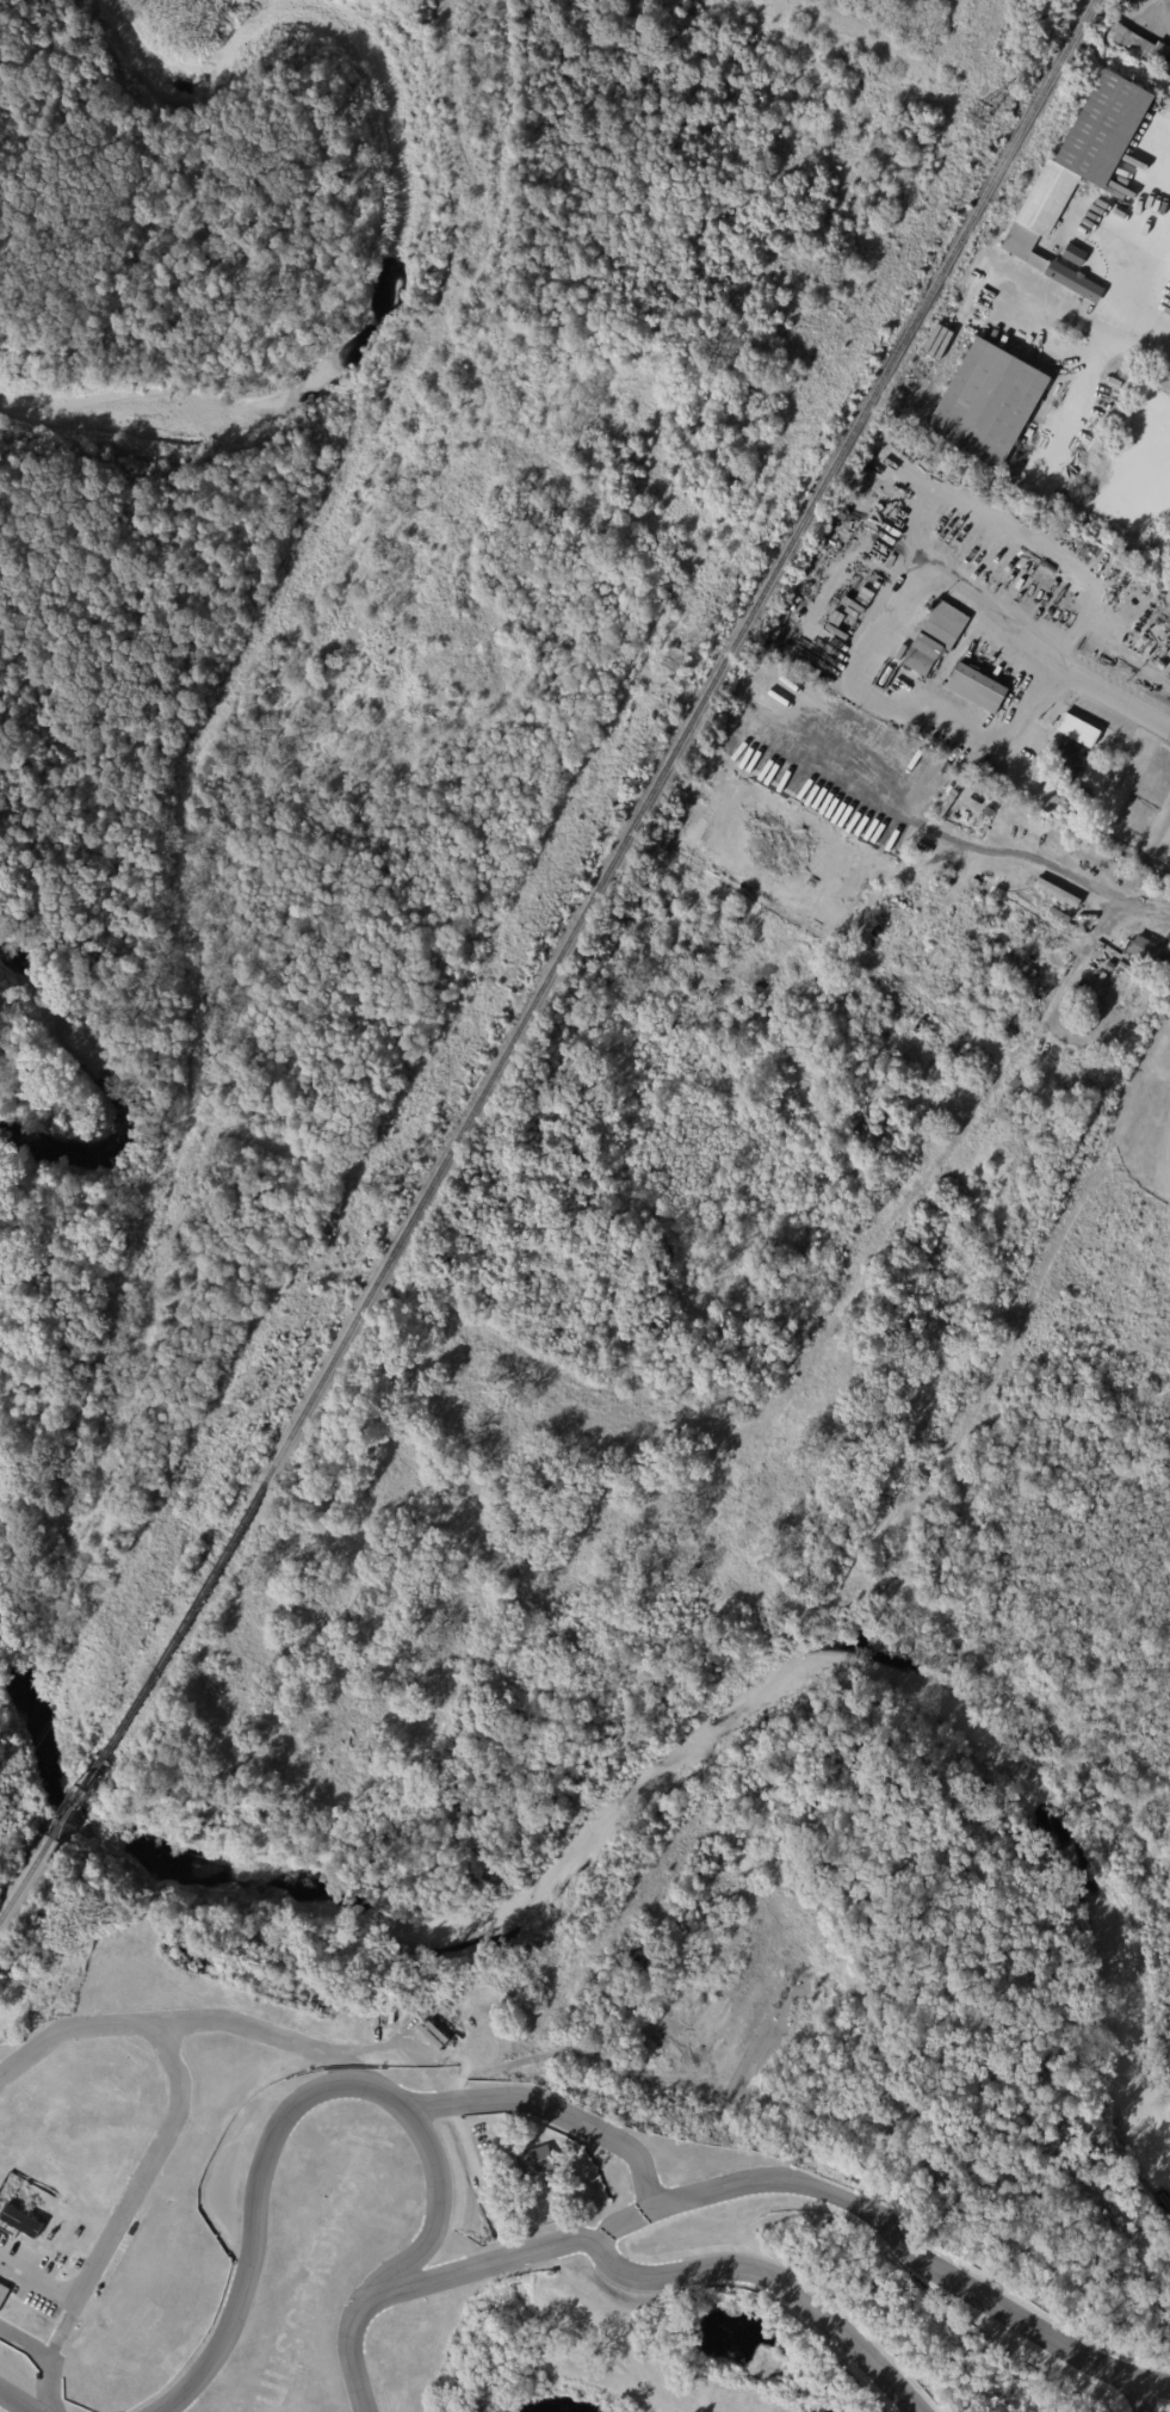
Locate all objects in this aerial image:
building: (1158, 50)
building: (1151, 58)
building: (1166, 64)
power tower: (978, 118)
building: (1076, 173)
building: (1077, 249)
road: (1144, 274)
road: (1089, 366)
building: (986, 406)
building: (1004, 479)
building: (1058, 501)
road: (287, 587)
building: (937, 637)
power tower: (671, 660)
road: (862, 661)
building: (978, 686)
road: (1112, 704)
building: (1081, 729)
building: (1063, 767)
railway: (601, 882)
building: (1057, 890)
building: (1169, 934)
building: (1146, 950)
road: (1081, 958)
building: (1077, 1148)
power tower: (380, 1188)
railway: (75, 1800)
railway: (25, 1879)
park: (589, 2019)
road: (403, 2036)
raceway: (353, 2083)
road: (469, 2147)
road: (153, 2161)
building: (528, 2161)
building: (553, 2170)
raceway: (781, 2178)
raceway: (625, 2219)
building: (21, 2221)
raceway: (636, 2275)
road: (41, 2276)
parking lot: (33, 2277)
building: (8, 2302)
road: (565, 2328)
road: (52, 2351)
road: (49, 2374)
raceway: (1138, 2377)
building: (91, 2395)
raceway: (18, 2400)
park: (552, 2401)

